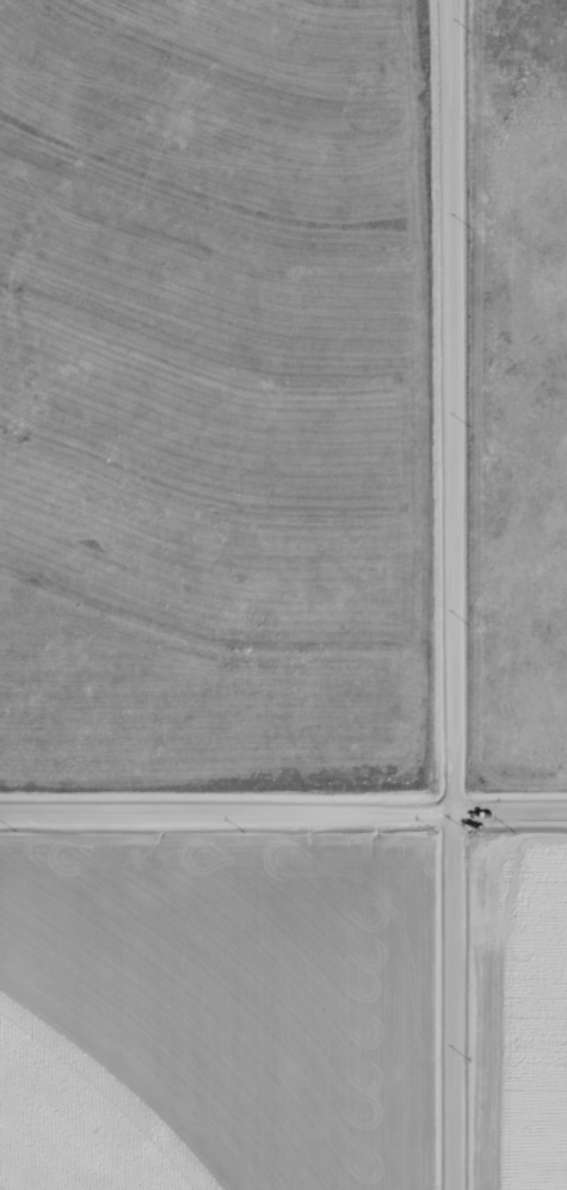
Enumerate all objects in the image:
road: (473, 594)
road: (283, 836)

